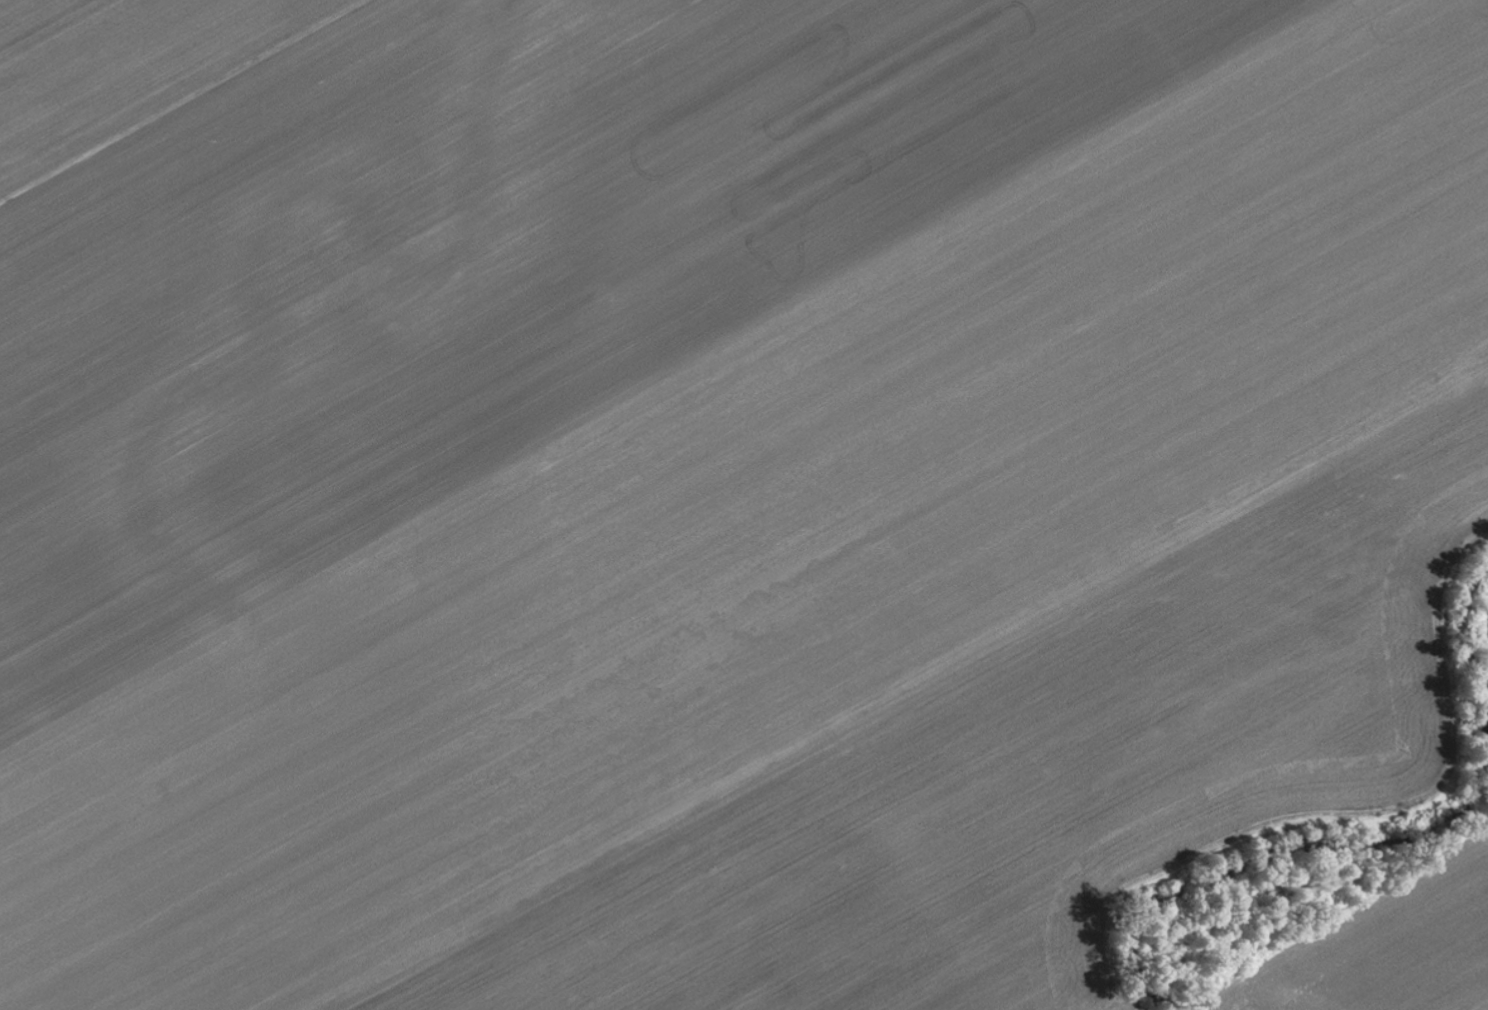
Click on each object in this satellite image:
road: (1438, 641)

